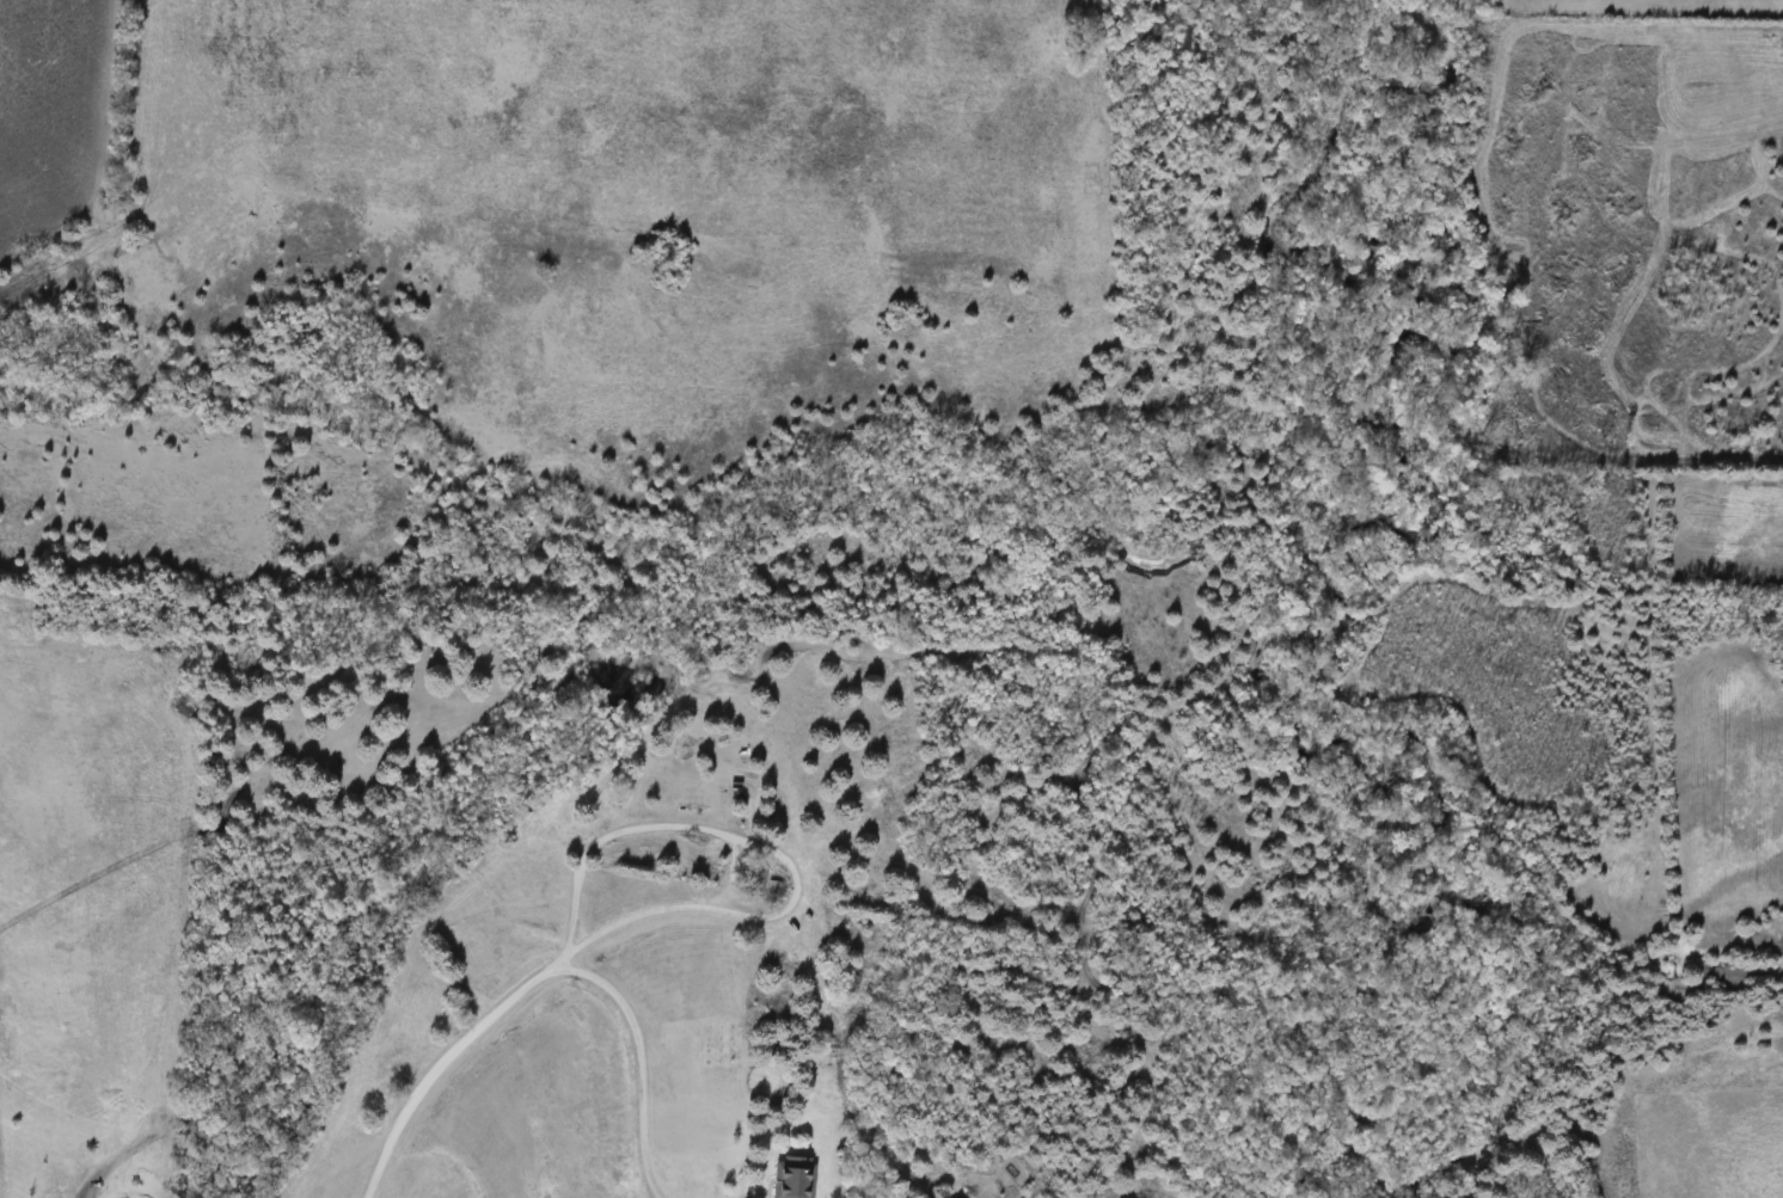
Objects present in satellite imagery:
road: (783, 853)
building: (759, 880)
road: (643, 1058)
road: (437, 1059)
building: (114, 1099)
building: (796, 1178)

